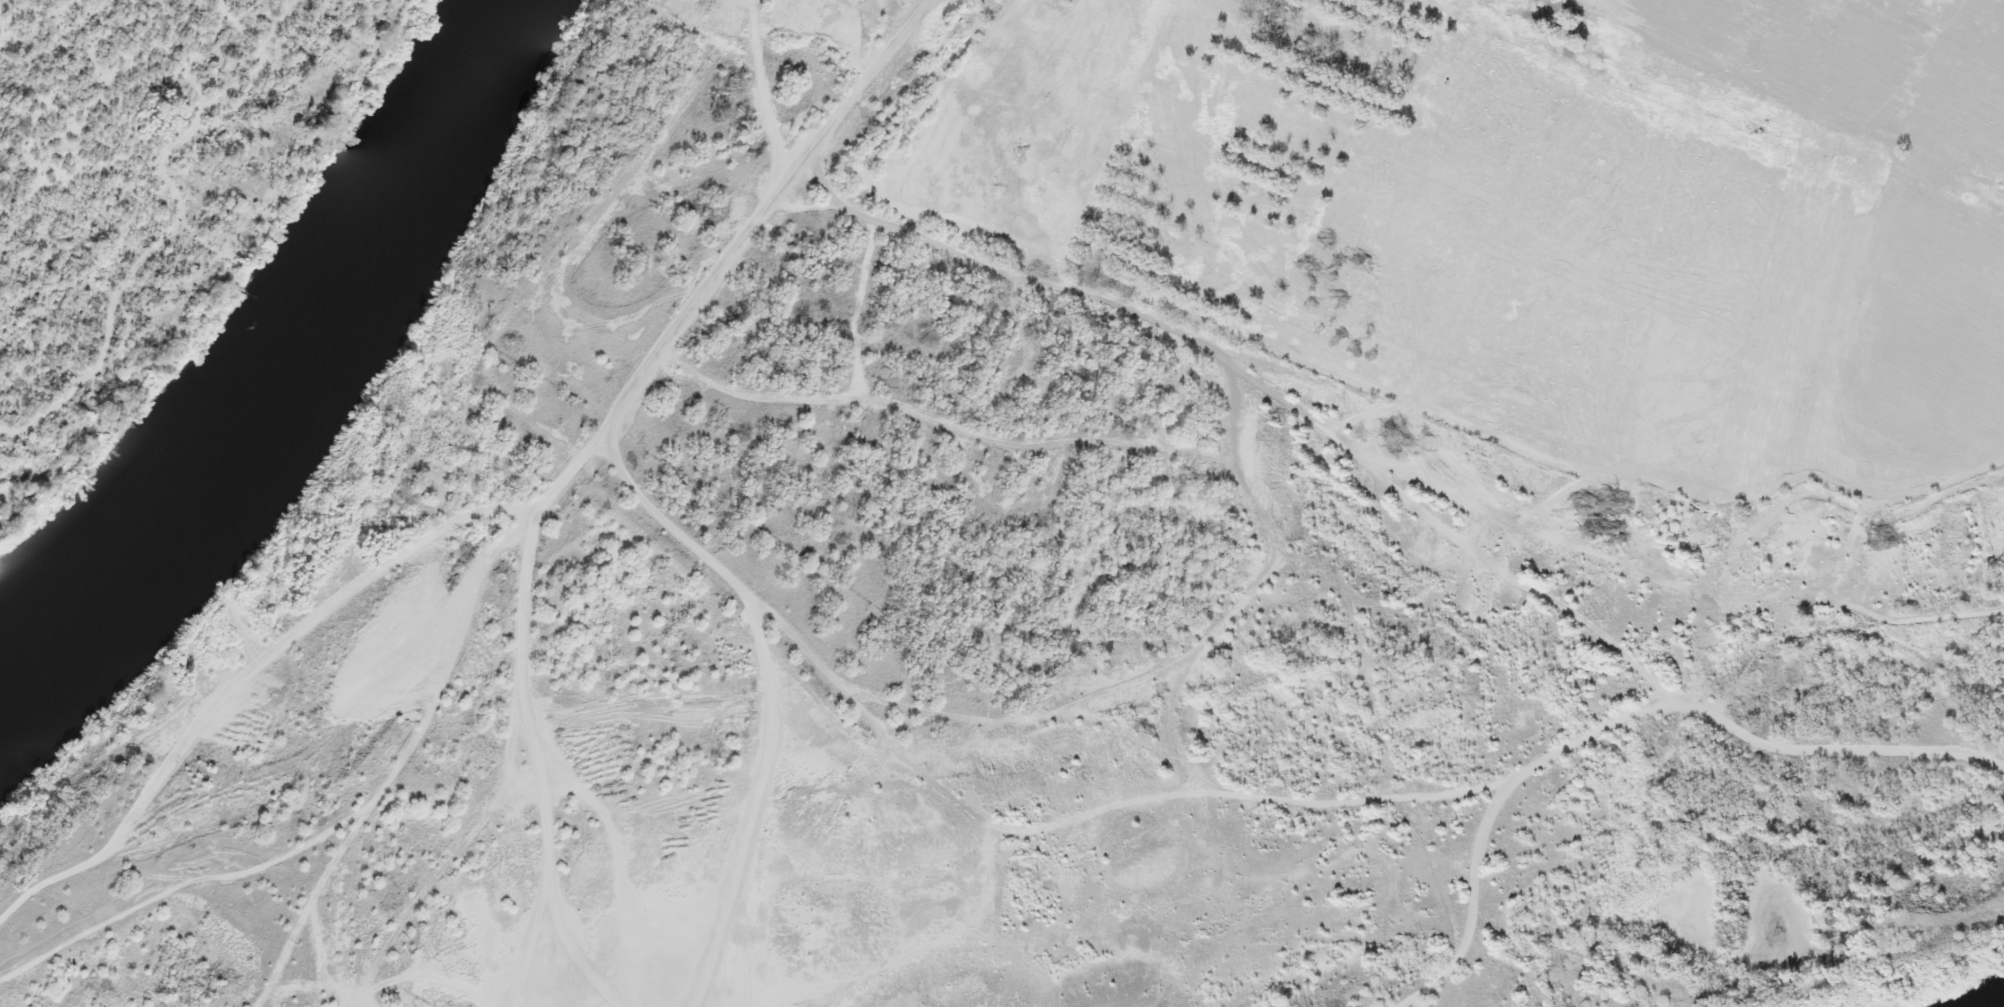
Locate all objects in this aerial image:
river: (291, 365)
road: (674, 534)
road: (462, 702)
road: (1467, 986)
road: (1354, 990)
road: (1420, 996)

